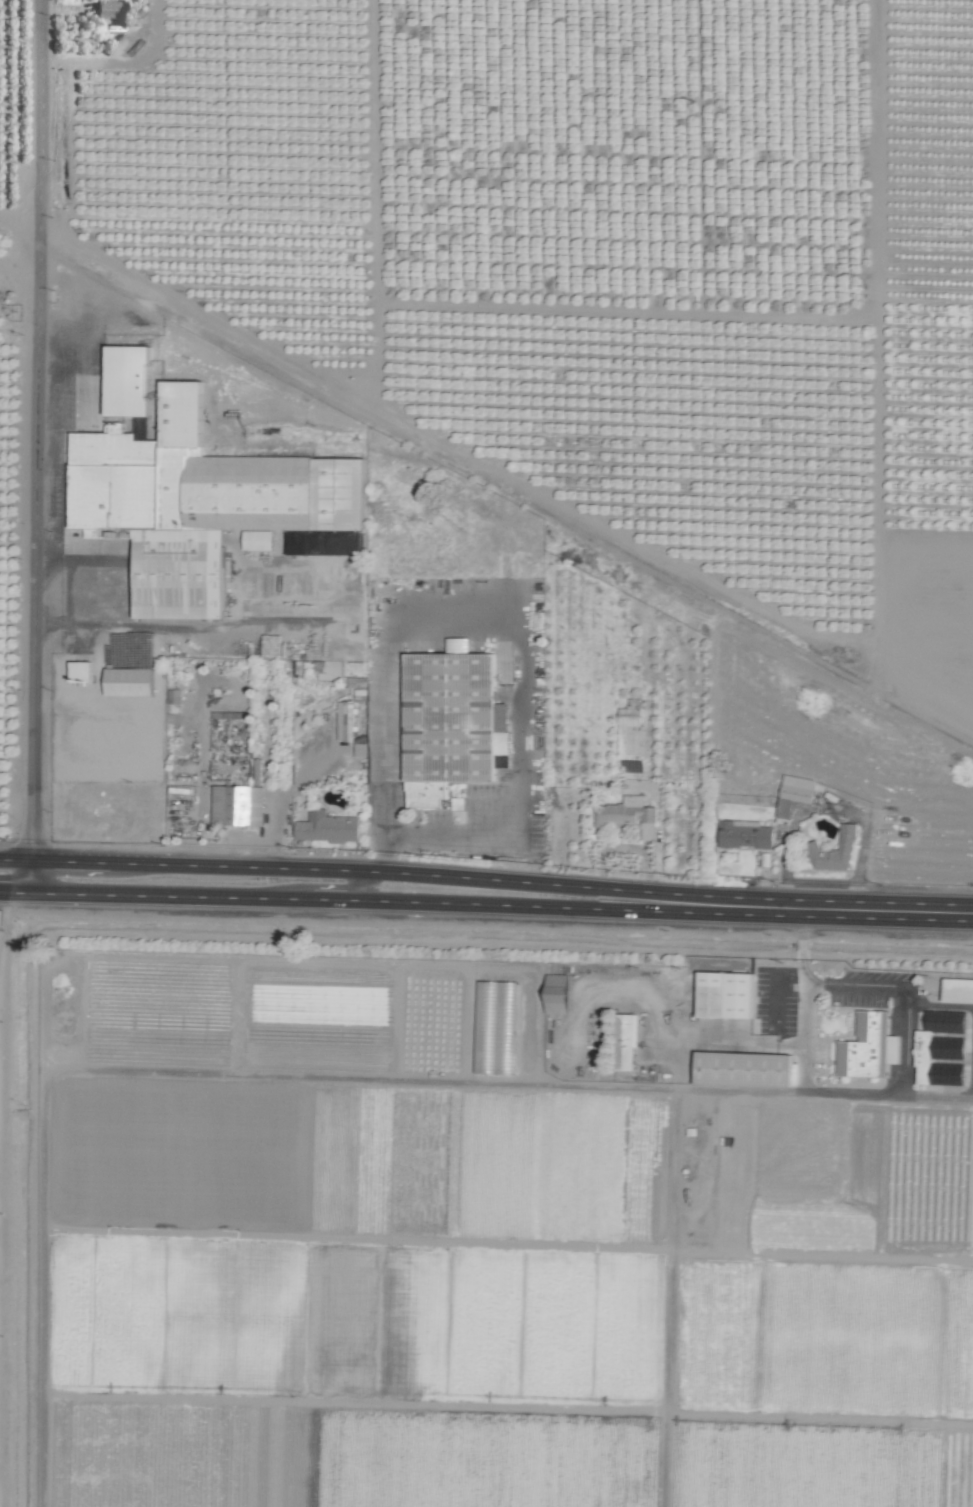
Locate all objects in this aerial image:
building: (109, 10)
road: (26, 232)
building: (130, 379)
road: (46, 447)
building: (205, 503)
road: (88, 566)
road: (269, 628)
building: (82, 672)
building: (130, 681)
building: (173, 696)
building: (629, 712)
building: (347, 720)
building: (449, 720)
crop: (486, 753)
road: (310, 771)
building: (793, 795)
building: (245, 804)
building: (628, 816)
building: (328, 827)
road: (275, 830)
building: (745, 834)
building: (835, 852)
road: (381, 853)
road: (367, 873)
road: (322, 885)
road: (366, 901)
road: (853, 910)
road: (801, 923)
road: (801, 946)
road: (801, 970)
building: (958, 990)
road: (890, 991)
building: (558, 993)
building: (726, 994)
building: (629, 1044)
building: (869, 1047)
building: (924, 1057)
building: (745, 1068)
road: (684, 1069)
road: (835, 1093)

